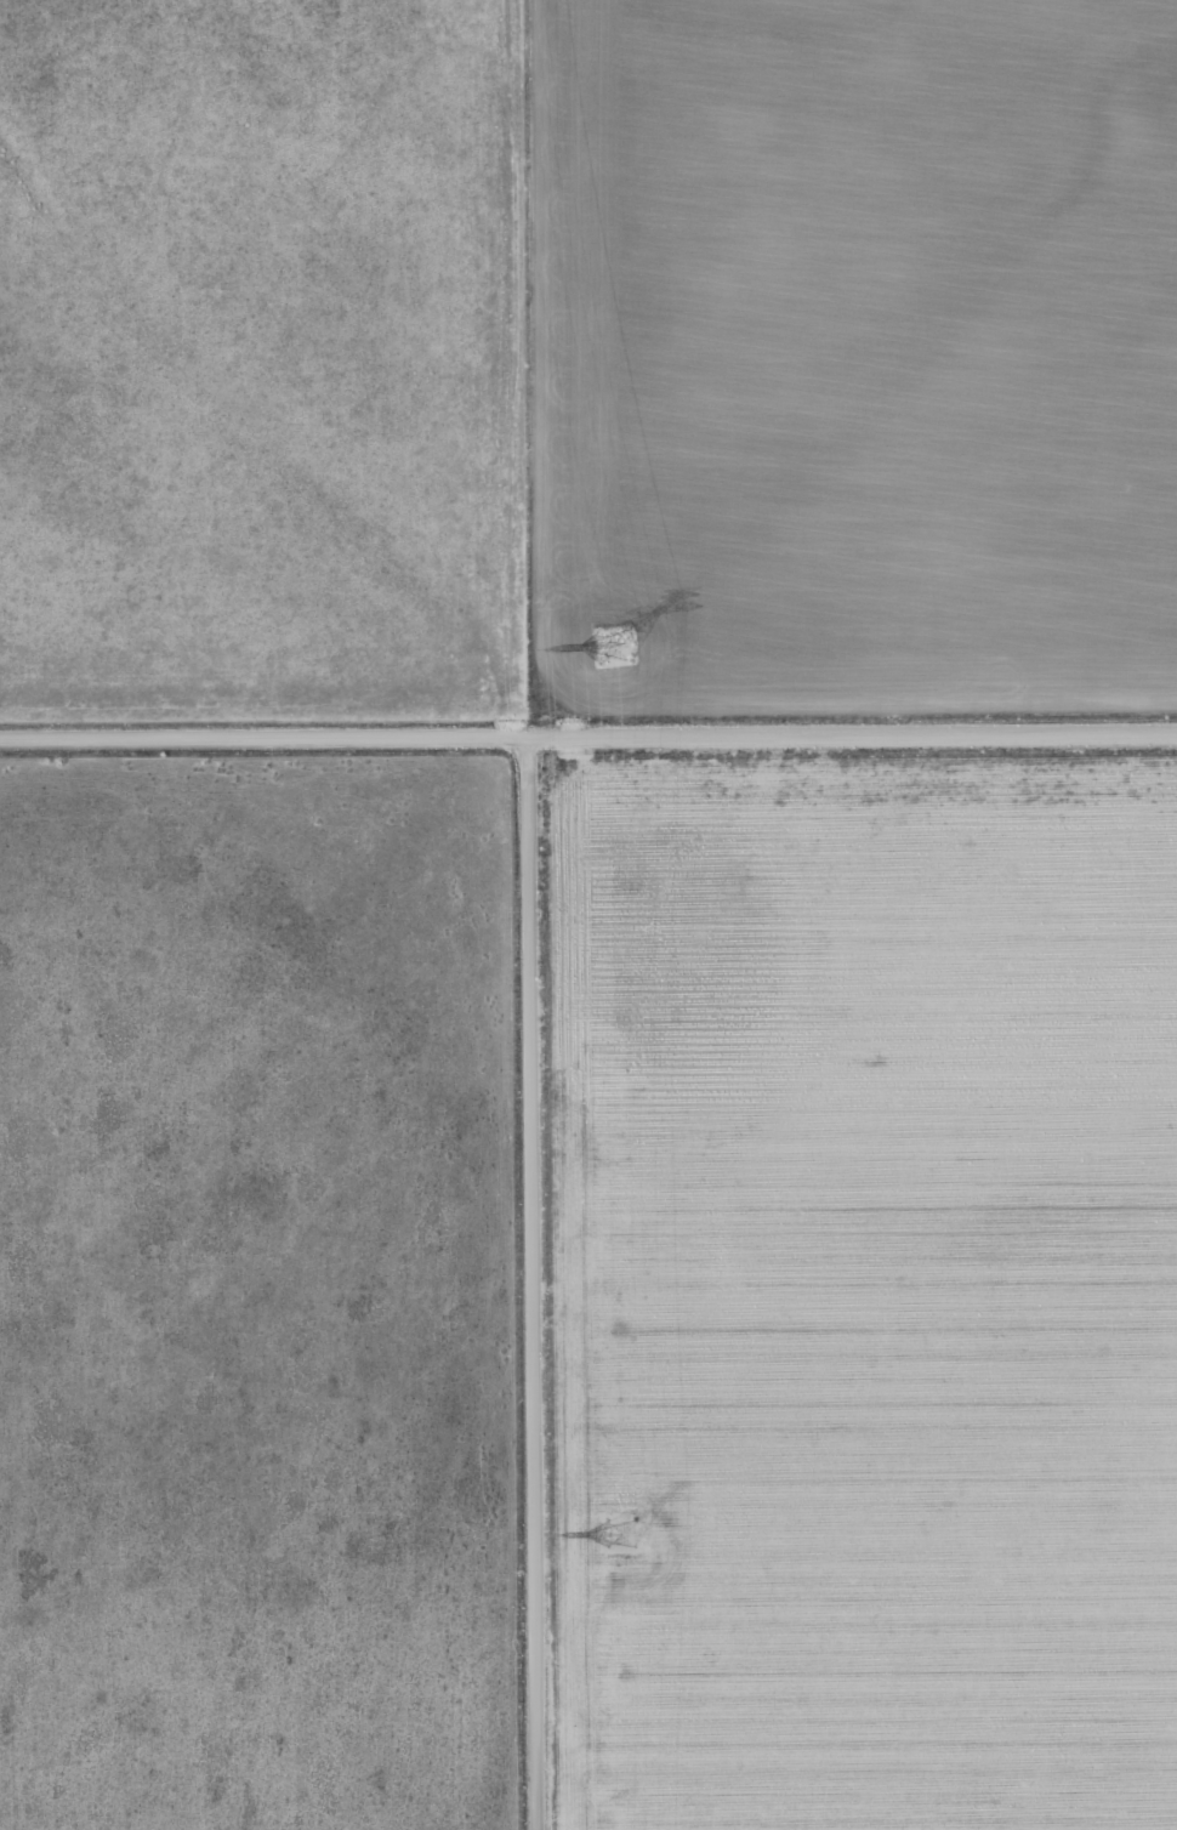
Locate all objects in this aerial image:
power tower: (610, 648)
road: (588, 734)
road: (533, 1281)
power tower: (616, 1534)

